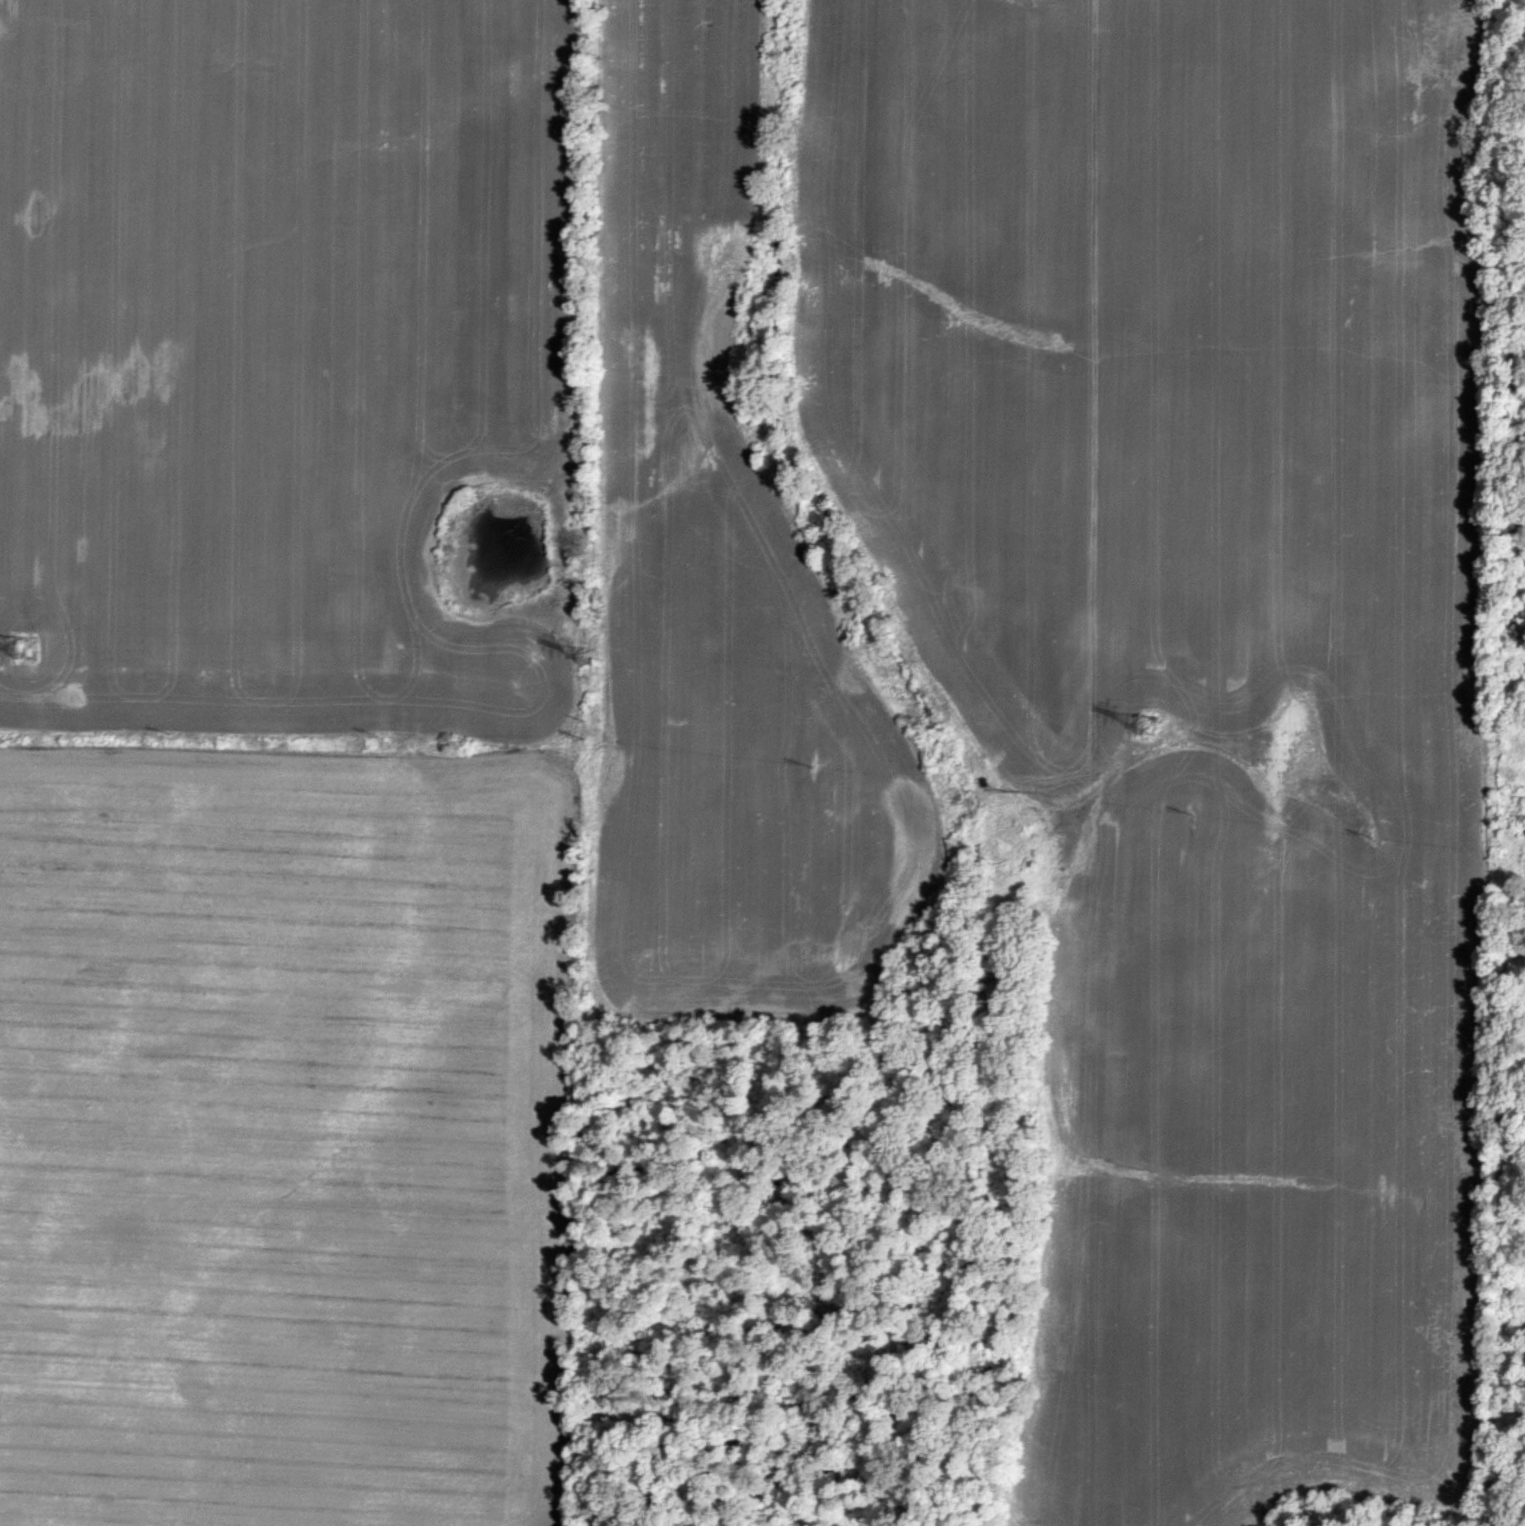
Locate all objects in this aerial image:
power tower: (27, 647)
power tower: (584, 655)
power tower: (1143, 723)
crop: (762, 763)

